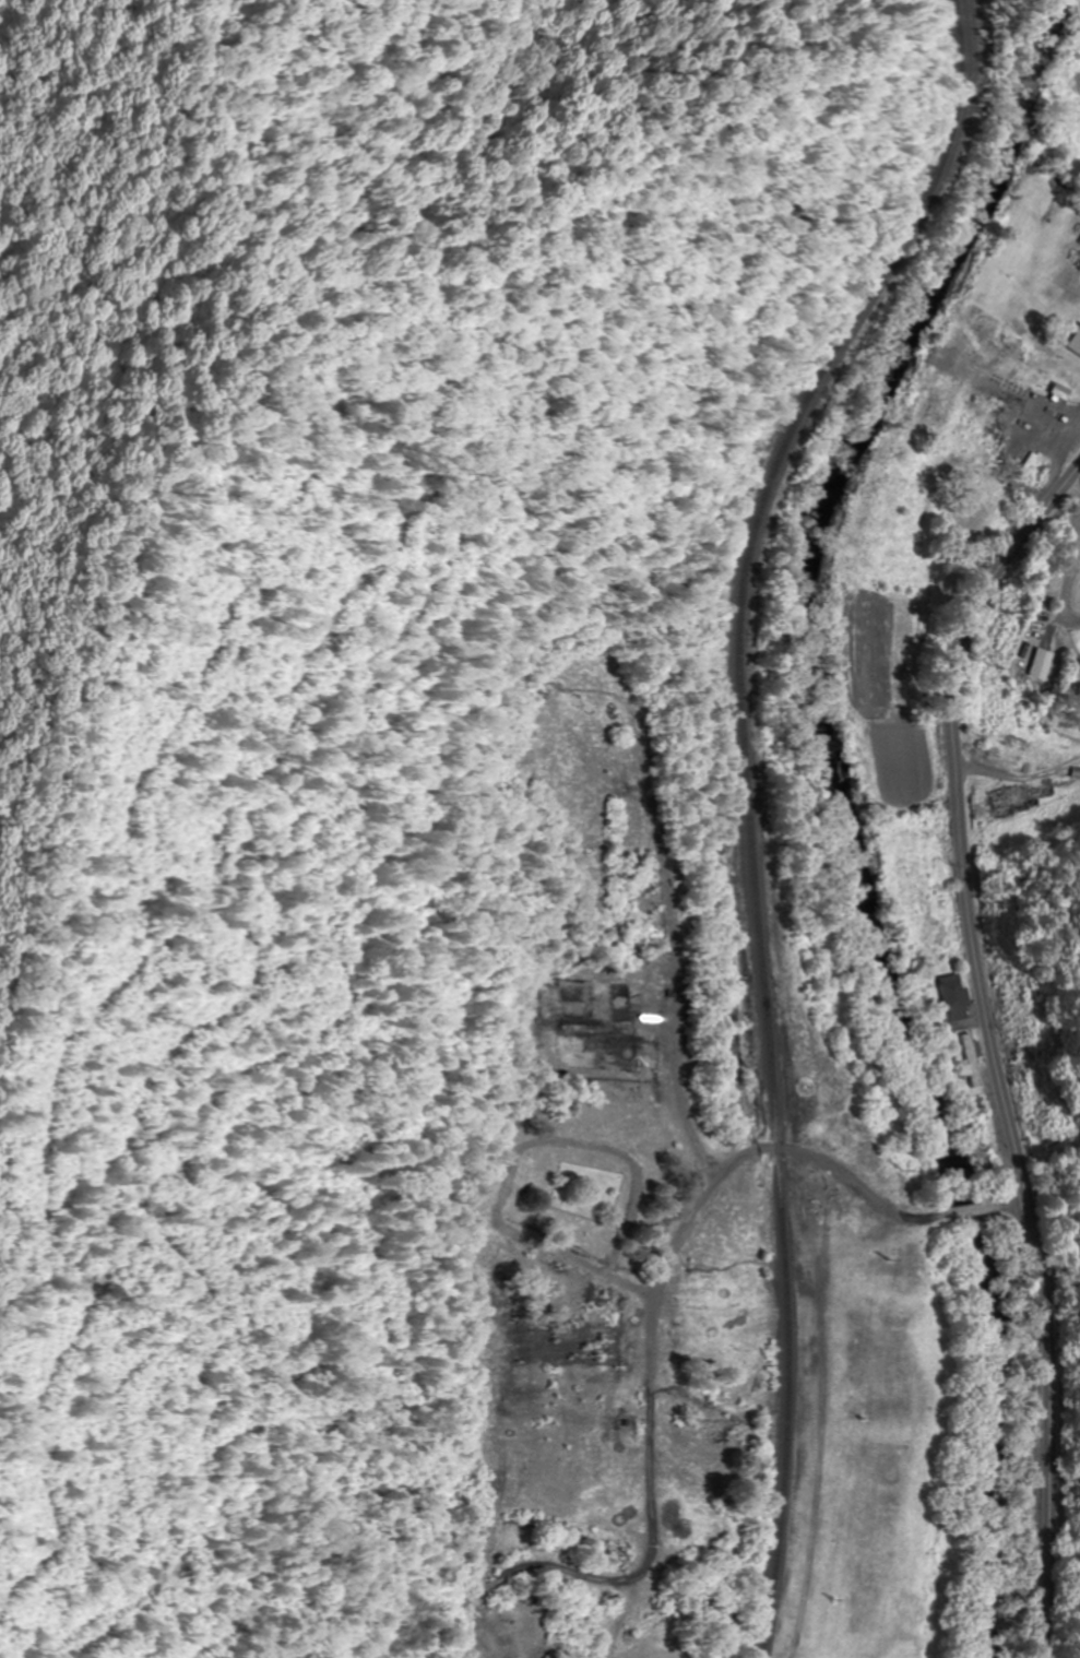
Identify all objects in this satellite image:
building: (1078, 341)
building: (1054, 383)
building: (997, 427)
building: (975, 518)
building: (1012, 801)
railway: (751, 804)
river: (834, 806)
building: (952, 998)
road: (993, 1045)
building: (970, 1061)
road: (707, 1187)
park: (571, 1197)
road: (1013, 1200)
road: (974, 1207)

